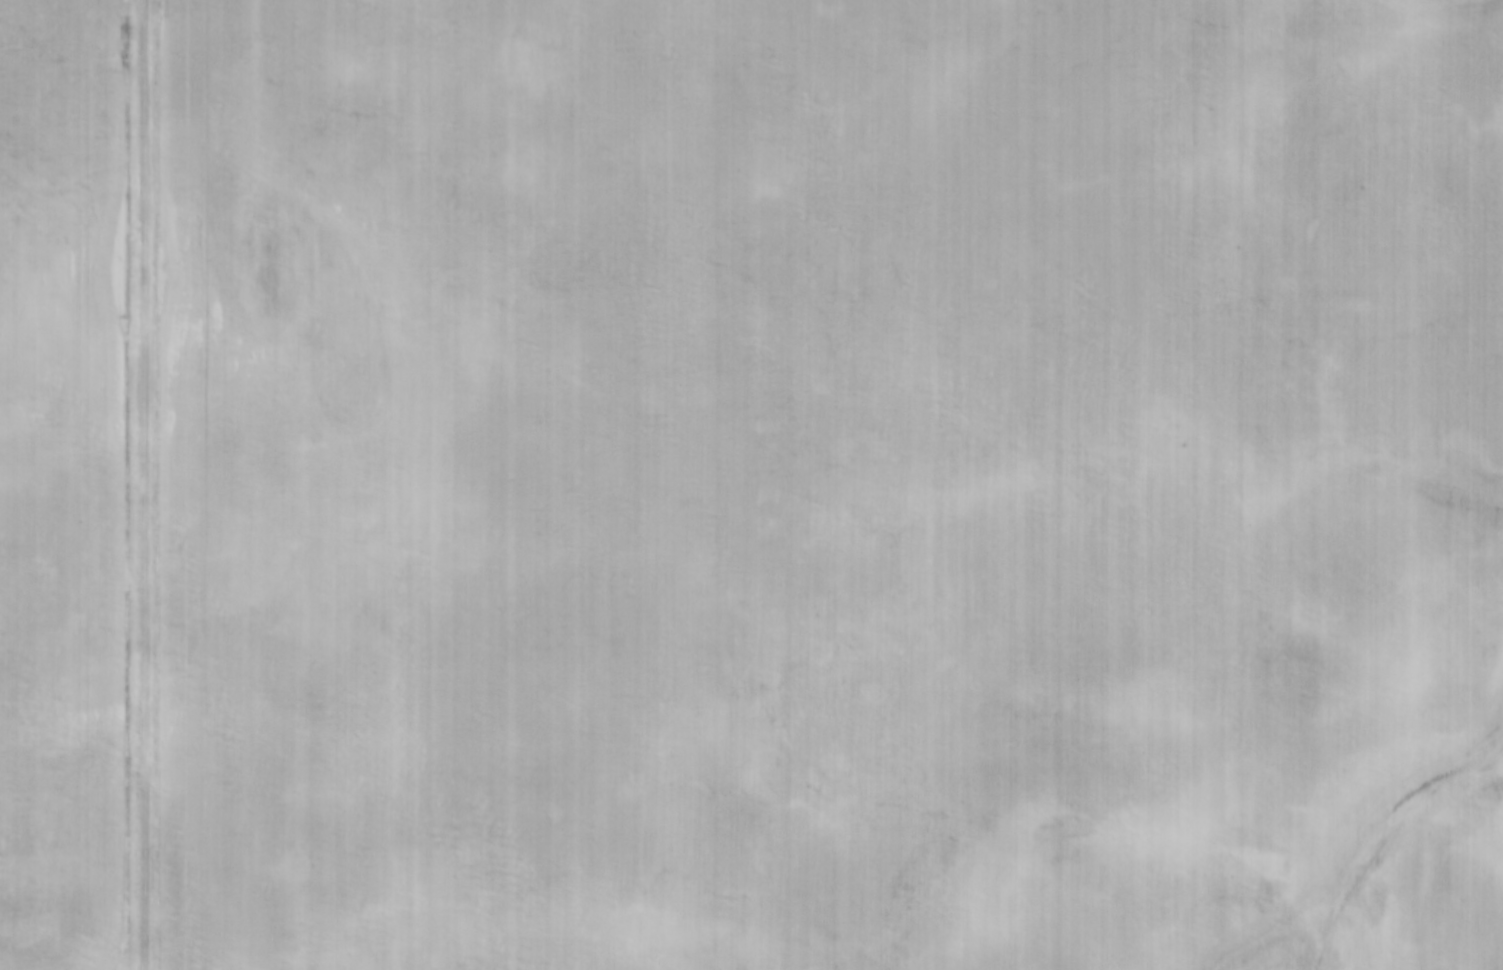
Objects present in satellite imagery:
road: (144, 485)

